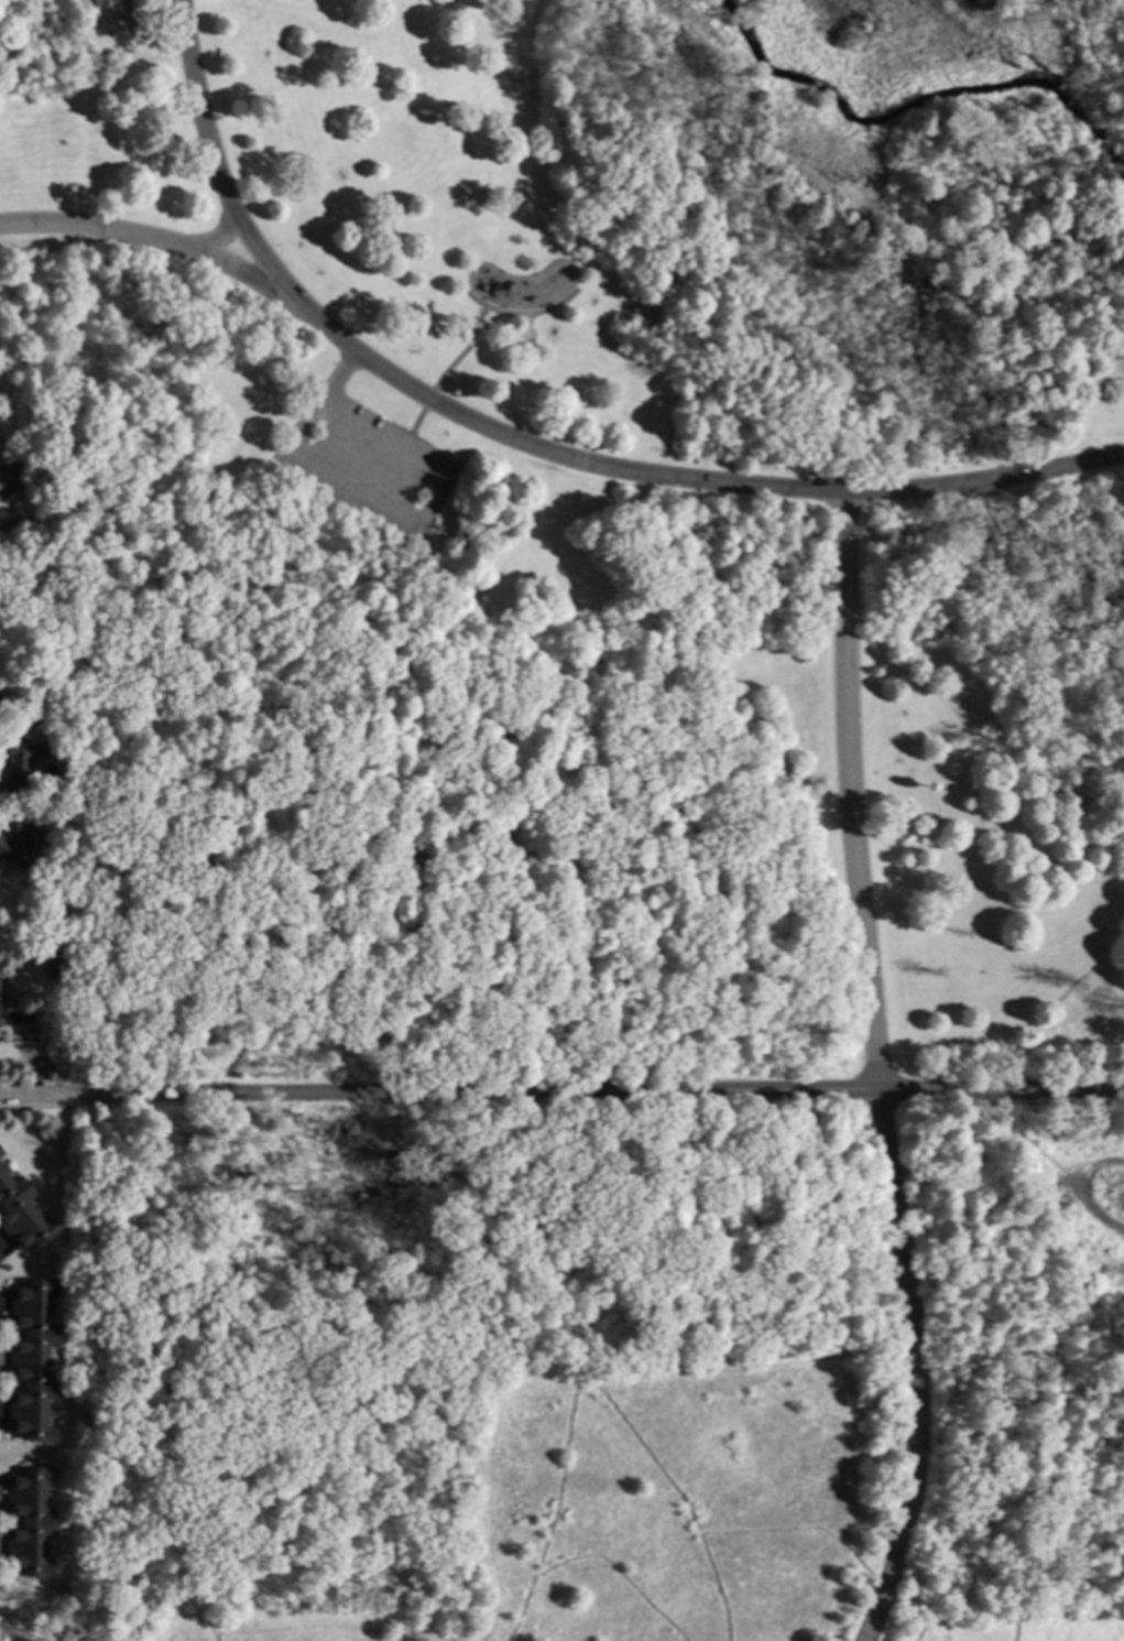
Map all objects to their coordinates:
building: (105, 13)
road: (143, 40)
road: (216, 164)
road: (219, 238)
road: (522, 314)
road: (465, 350)
road: (337, 376)
road: (428, 399)
road: (412, 432)
road: (536, 448)
parking lot: (369, 463)
building: (10, 478)
road: (412, 525)
park: (586, 531)
building: (61, 735)
road: (124, 741)
building: (18, 764)
road: (861, 791)
building: (68, 804)
road: (501, 816)
building: (21, 844)
building: (54, 957)
building: (48, 974)
road: (604, 1091)
road: (43, 1093)
building: (0, 1153)
road: (470, 1174)
road: (1083, 1187)
building: (22, 1214)
building: (32, 1360)
road: (914, 1367)
park: (603, 1370)
road: (361, 1372)
road: (166, 1373)
road: (590, 1385)
road: (553, 1512)
building: (29, 1522)
road: (795, 1529)
road: (618, 1574)
road: (884, 1588)
road: (909, 1611)
road: (1014, 1615)
road: (1013, 1628)

